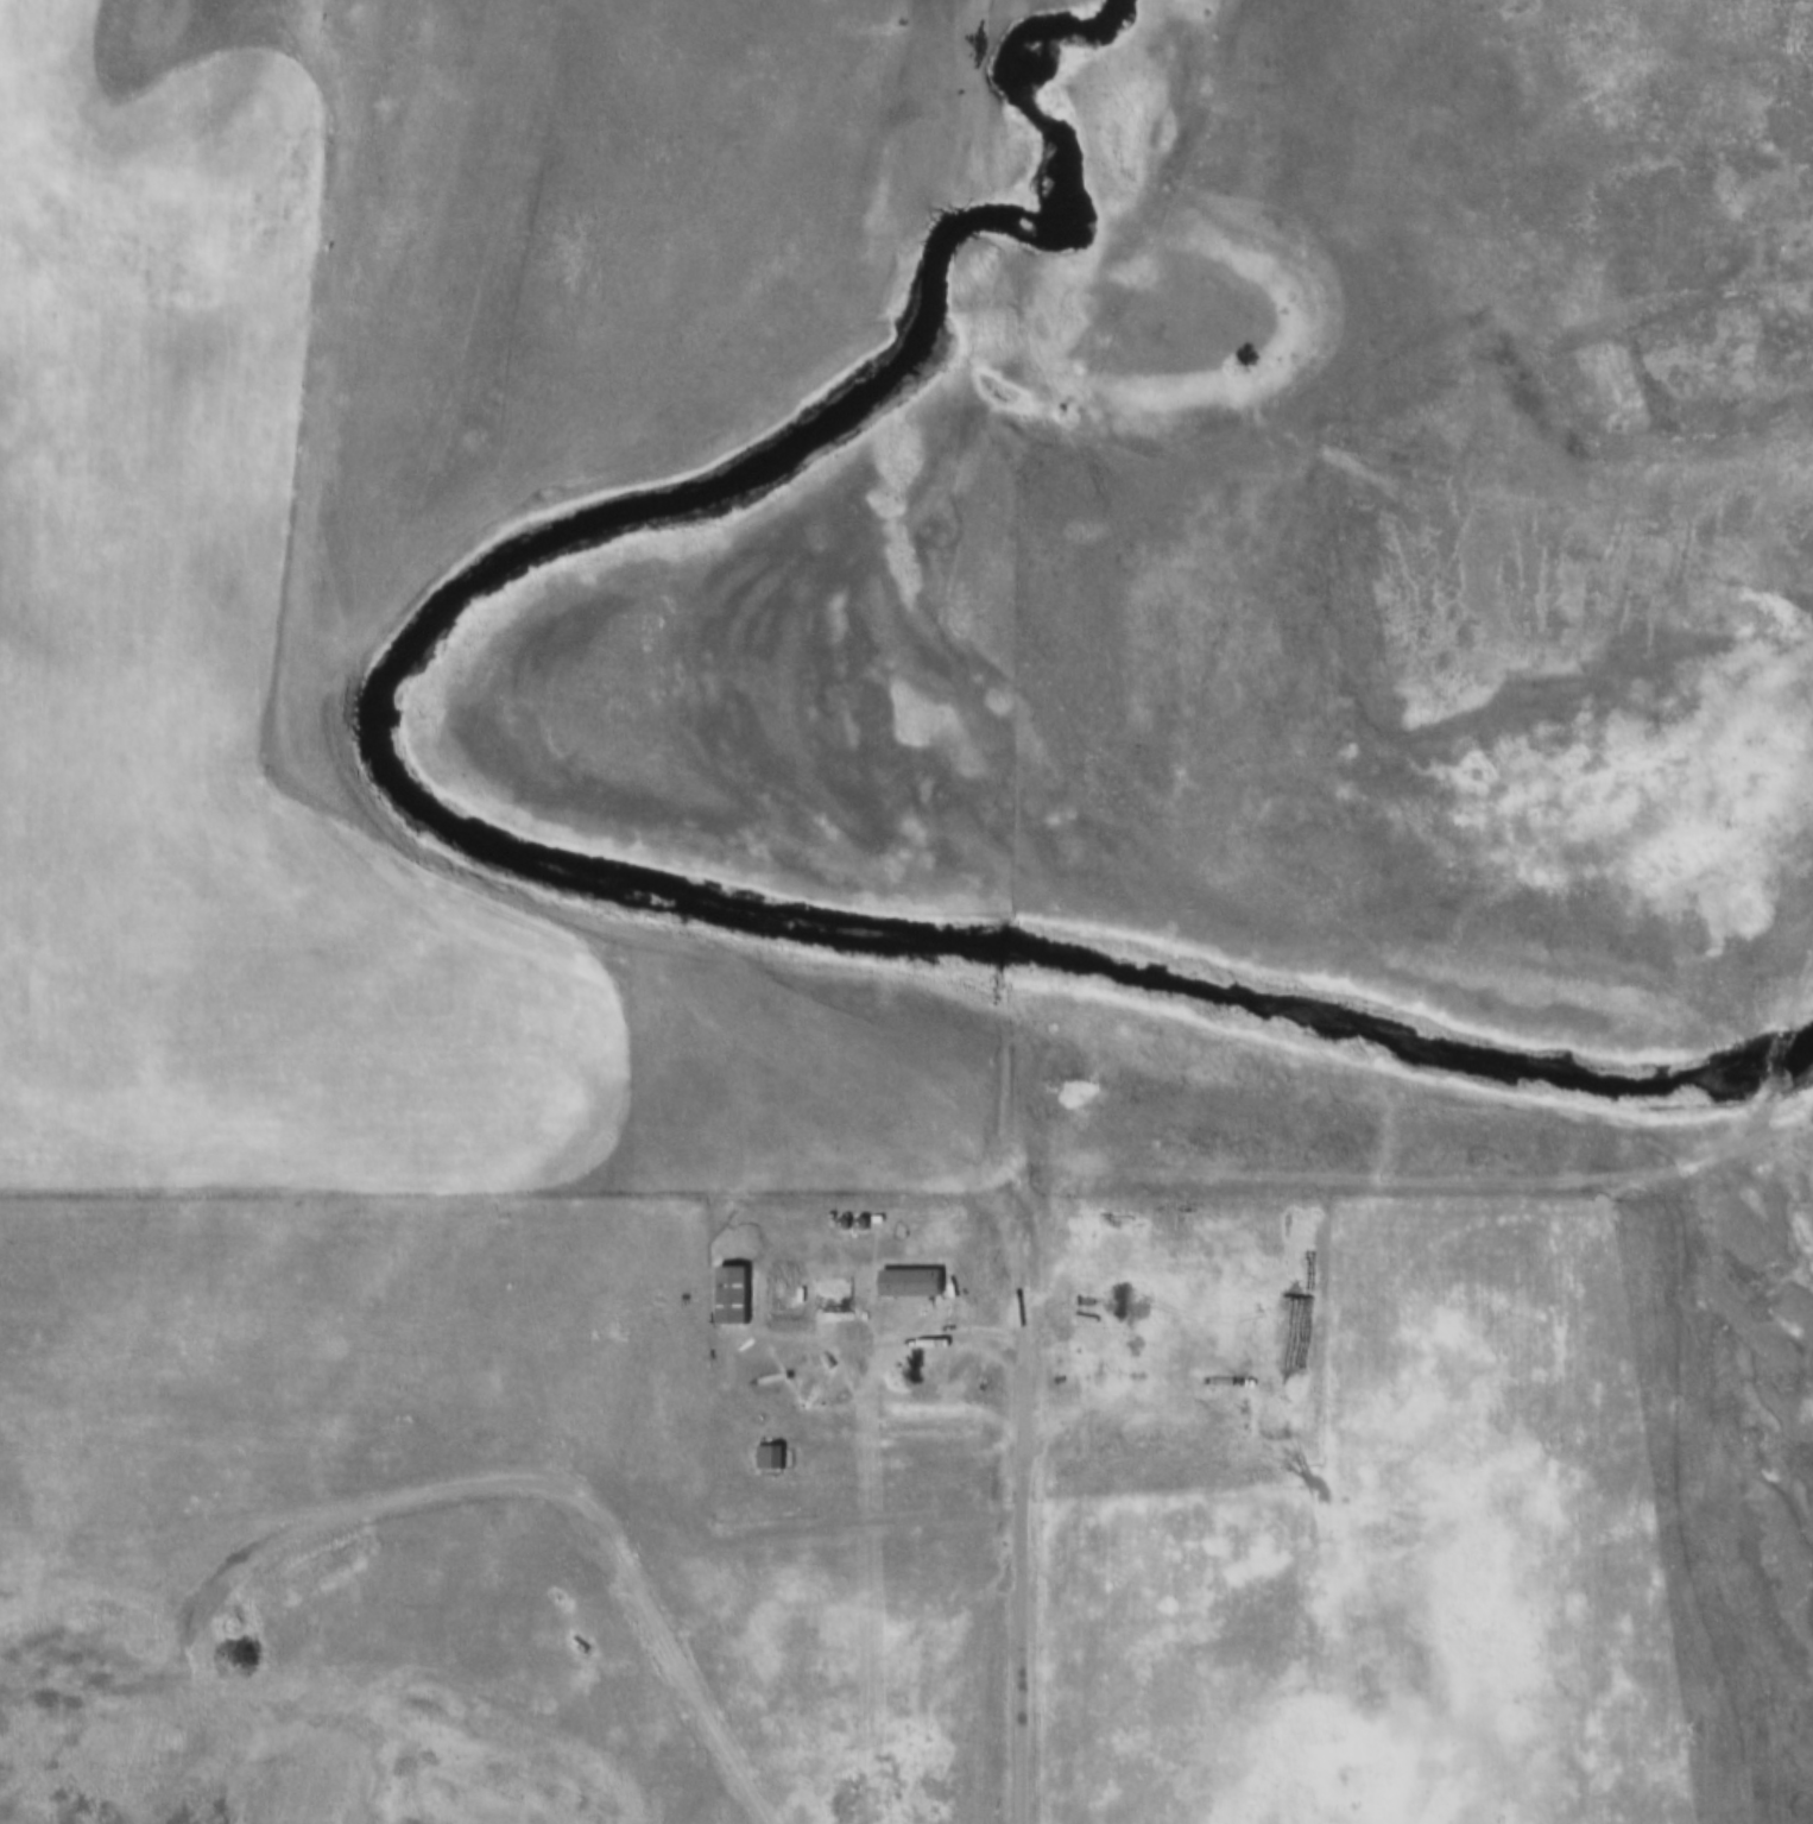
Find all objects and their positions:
building: (839, 1220)
silo: (839, 1220)
building: (857, 1220)
silo: (857, 1220)
building: (729, 1289)
road: (1025, 1454)
building: (762, 1456)

